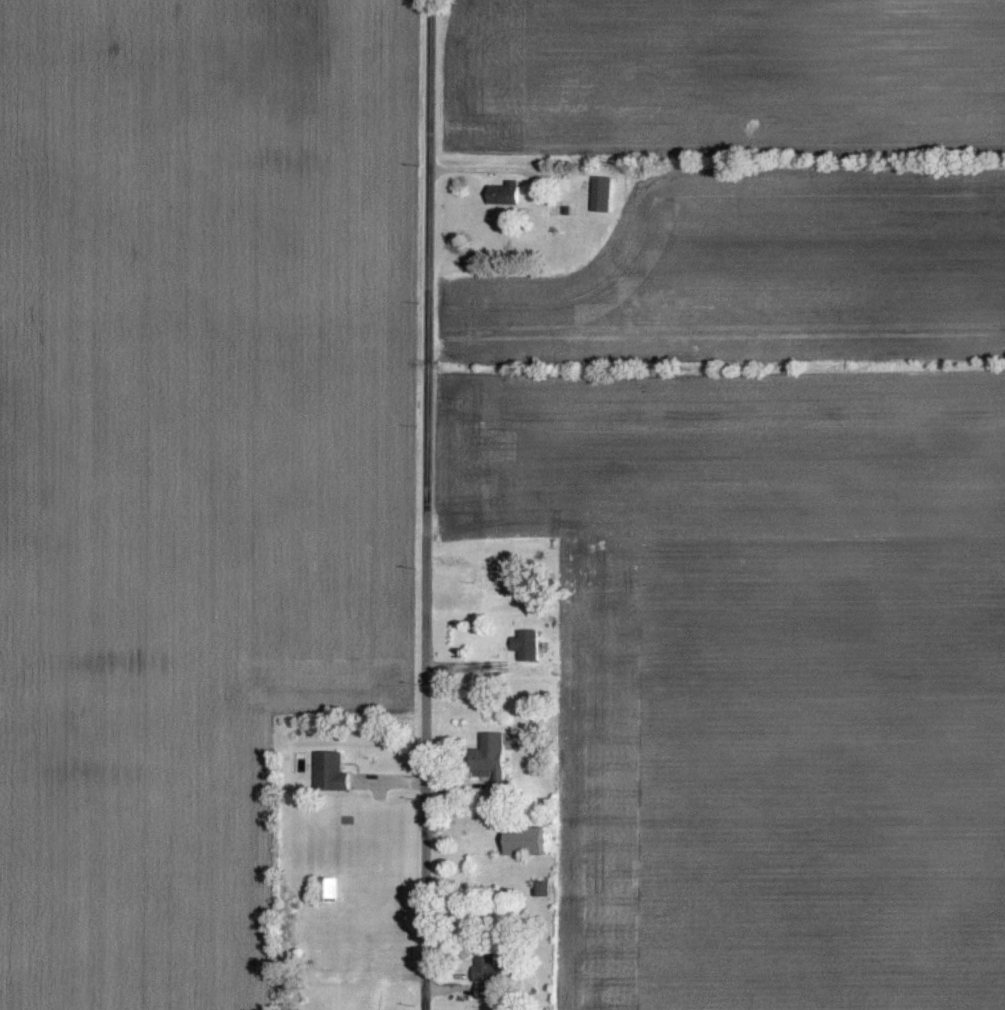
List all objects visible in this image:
building: (508, 192)
building: (605, 193)
road: (434, 505)
building: (530, 644)
building: (494, 754)
building: (335, 771)
building: (529, 841)

